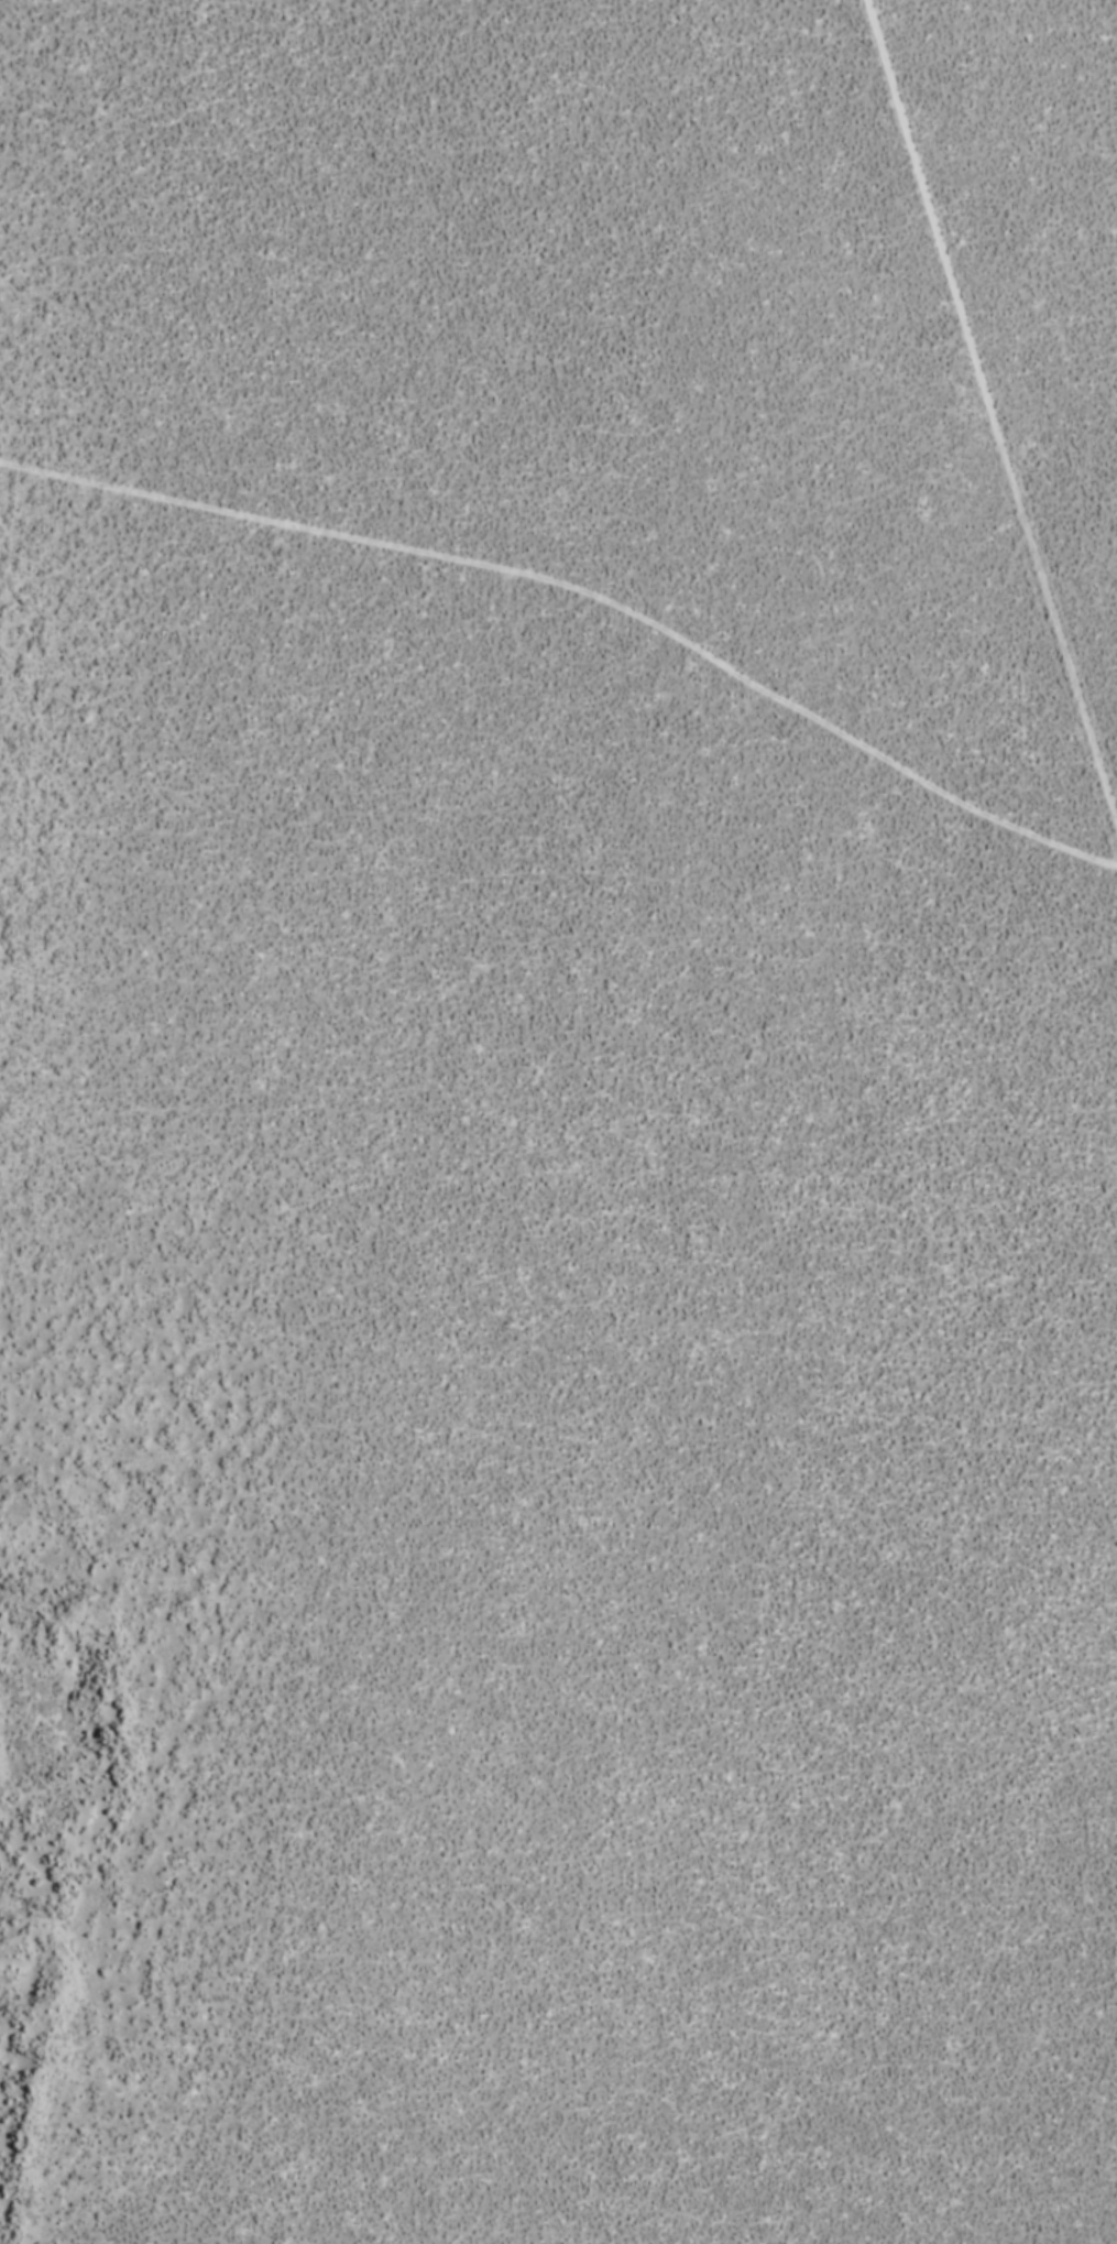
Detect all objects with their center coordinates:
road: (992, 410)

